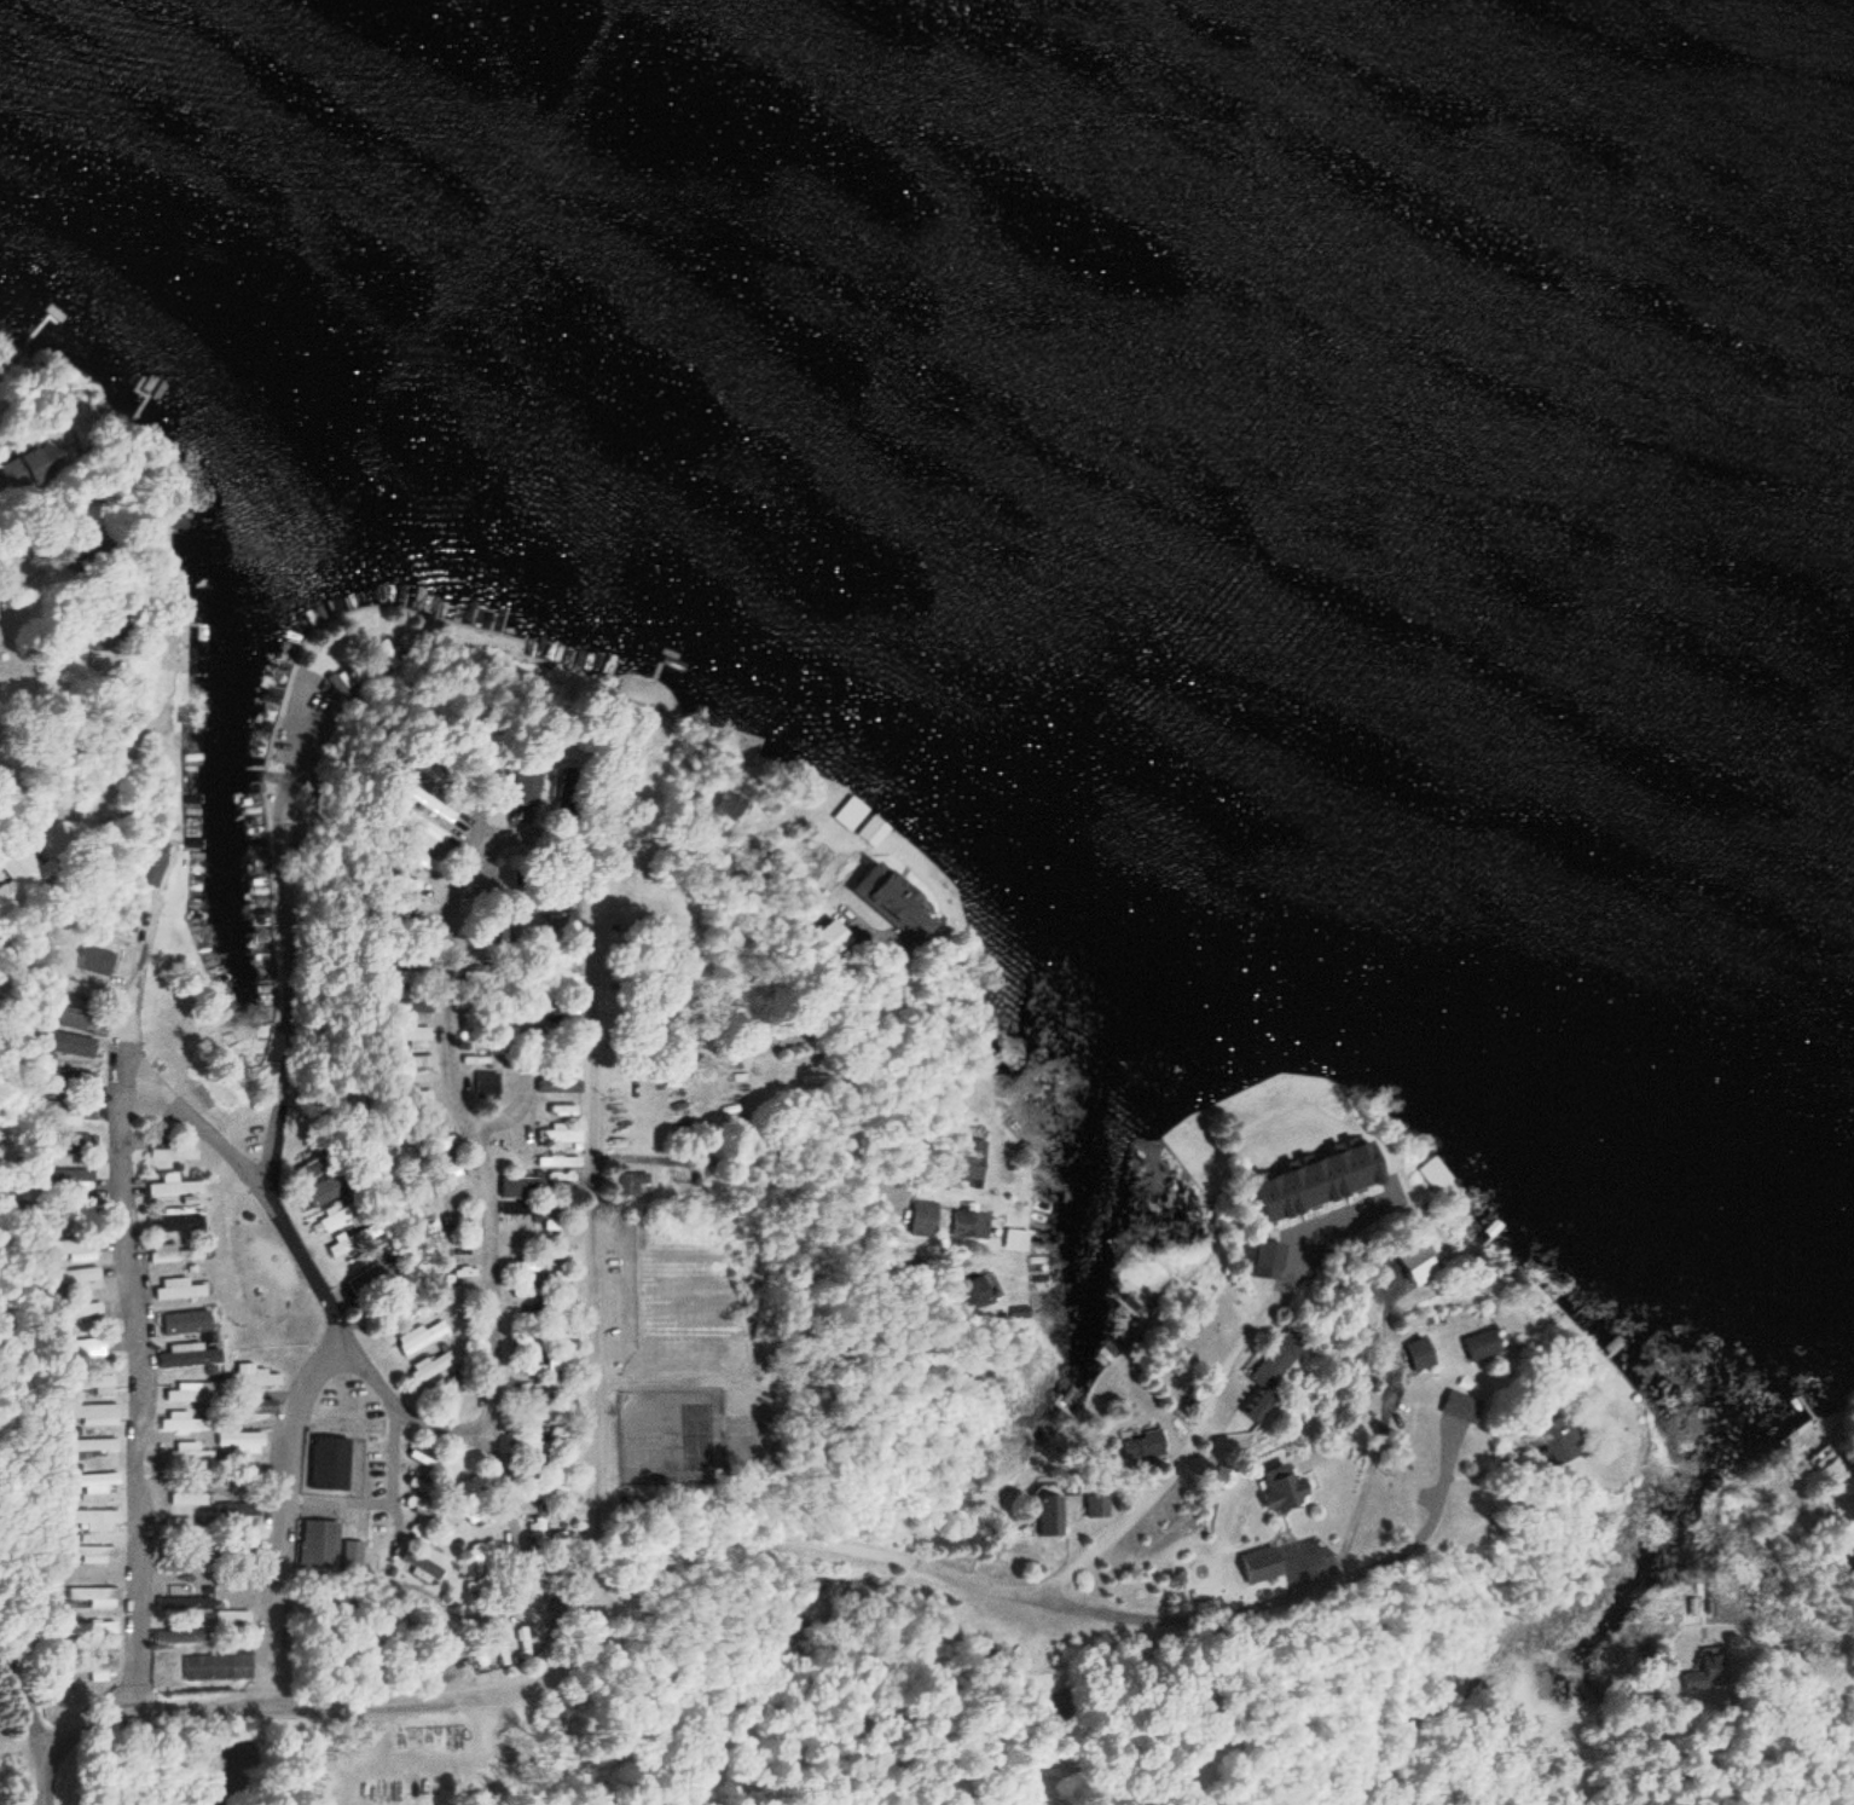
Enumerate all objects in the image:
river: (1546, 183)
building: (179, 522)
road: (27, 590)
road: (52, 733)
road: (294, 747)
building: (435, 774)
building: (529, 780)
building: (433, 803)
building: (854, 811)
road: (506, 831)
building: (428, 832)
building: (873, 832)
road: (366, 858)
building: (423, 863)
building: (17, 867)
building: (887, 895)
building: (547, 904)
building: (123, 919)
building: (87, 956)
road: (601, 964)
building: (76, 988)
building: (418, 1006)
road: (722, 1007)
building: (416, 1032)
building: (69, 1045)
building: (422, 1060)
building: (70, 1077)
building: (491, 1080)
building: (561, 1084)
road: (279, 1088)
building: (418, 1097)
building: (69, 1111)
building: (560, 1136)
road: (479, 1152)
building: (172, 1153)
building: (557, 1161)
road: (746, 1162)
building: (972, 1162)
building: (311, 1168)
building: (1433, 1174)
building: (561, 1175)
building: (66, 1176)
building: (635, 1184)
building: (172, 1185)
building: (325, 1191)
building: (540, 1193)
building: (336, 1217)
building: (925, 1219)
building: (175, 1221)
building: (971, 1226)
building: (1015, 1239)
building: (341, 1246)
building: (71, 1249)
building: (170, 1254)
building: (1415, 1262)
building: (367, 1283)
building: (178, 1289)
building: (979, 1291)
building: (81, 1309)
road: (140, 1314)
building: (184, 1323)
building: (421, 1336)
building: (1485, 1344)
building: (86, 1348)
building: (1420, 1353)
building: (189, 1358)
building: (1276, 1361)
building: (431, 1365)
building: (253, 1377)
building: (93, 1384)
road: (593, 1389)
building: (184, 1392)
building: (1462, 1406)
building: (254, 1410)
building: (92, 1415)
building: (170, 1424)
building: (199, 1424)
park: (697, 1433)
building: (1558, 1440)
building: (239, 1442)
building: (91, 1444)
building: (1140, 1444)
building: (189, 1454)
building: (329, 1463)
building: (1830, 1473)
building: (92, 1481)
building: (1280, 1487)
building: (186, 1498)
building: (1094, 1505)
building: (245, 1511)
building: (1047, 1515)
building: (94, 1518)
road: (278, 1520)
building: (180, 1528)
building: (317, 1547)
building: (91, 1550)
building: (481, 1554)
building: (237, 1557)
building: (350, 1557)
building: (184, 1563)
building: (421, 1567)
road: (923, 1567)
building: (94, 1596)
building: (182, 1602)
building: (231, 1616)
building: (89, 1630)
building: (180, 1637)
building: (219, 1666)
building: (91, 1667)
road: (18, 1685)
road: (249, 1716)
road: (41, 1768)

